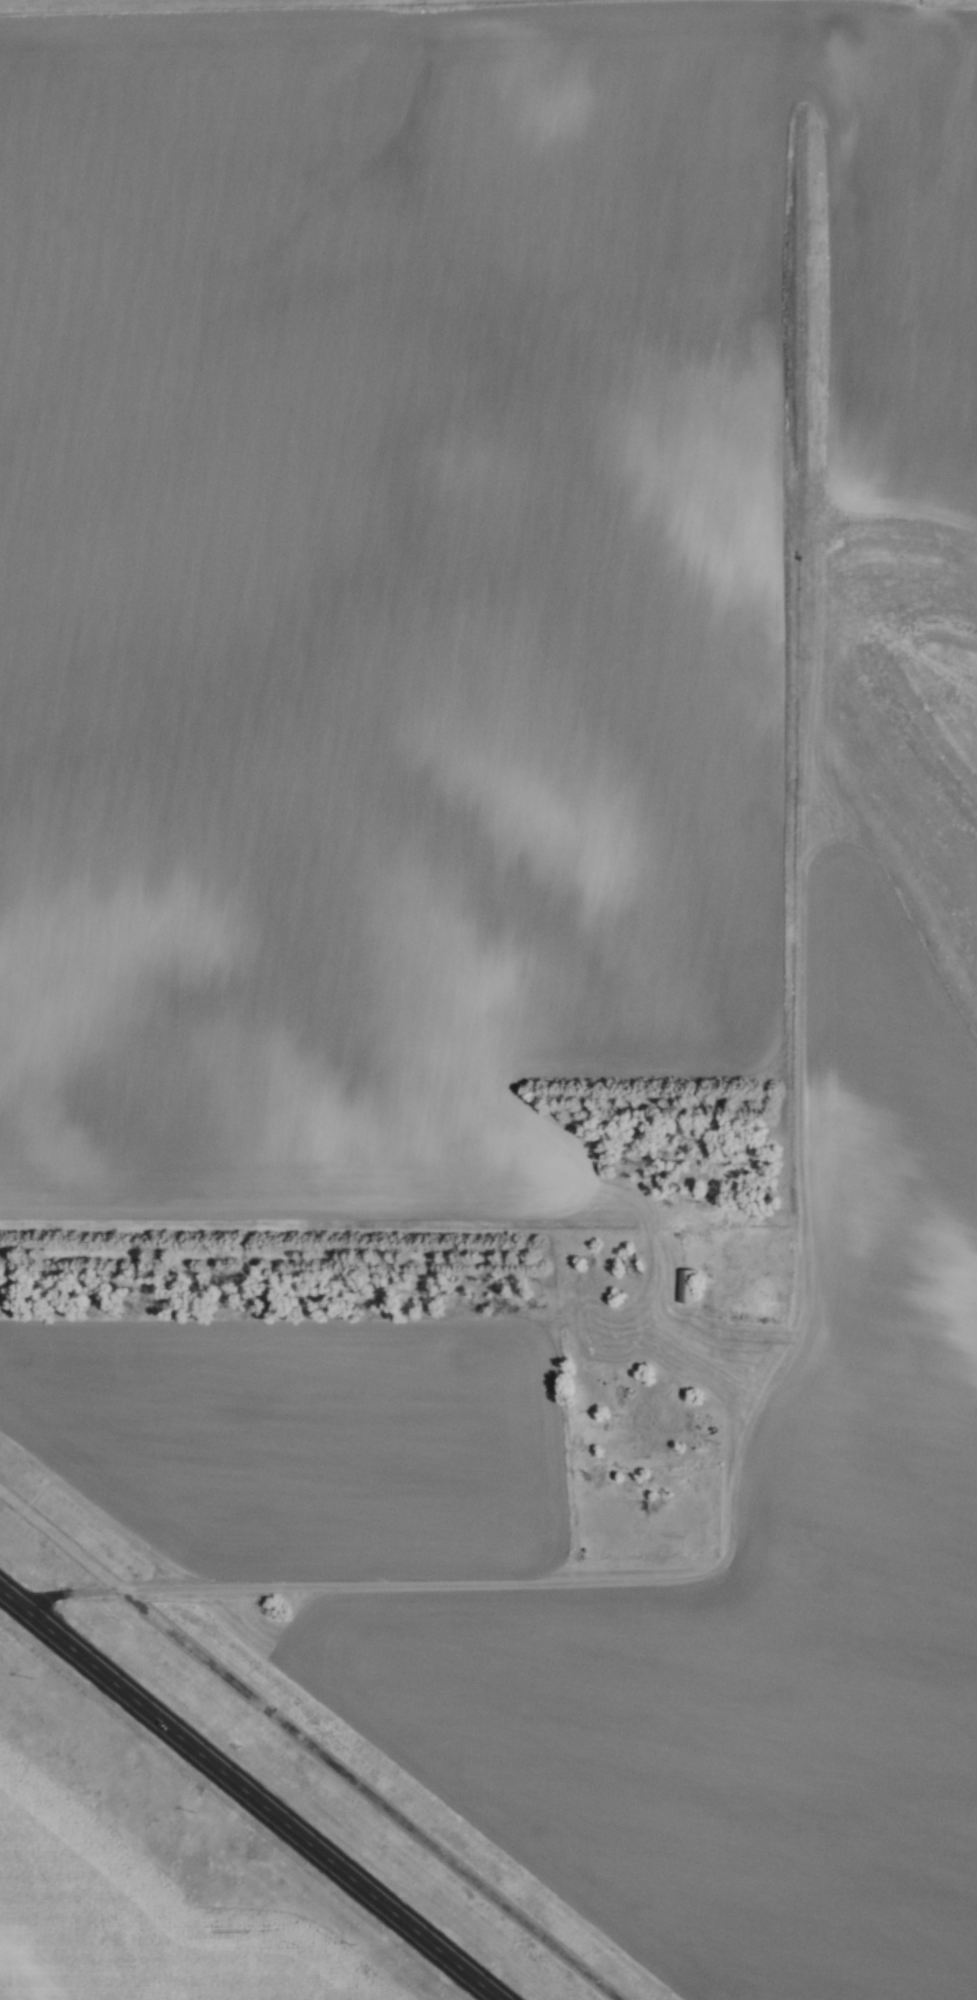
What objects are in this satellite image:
building: (684, 1288)
road: (738, 1431)
road: (352, 1587)
road: (313, 1742)
road: (251, 1793)

